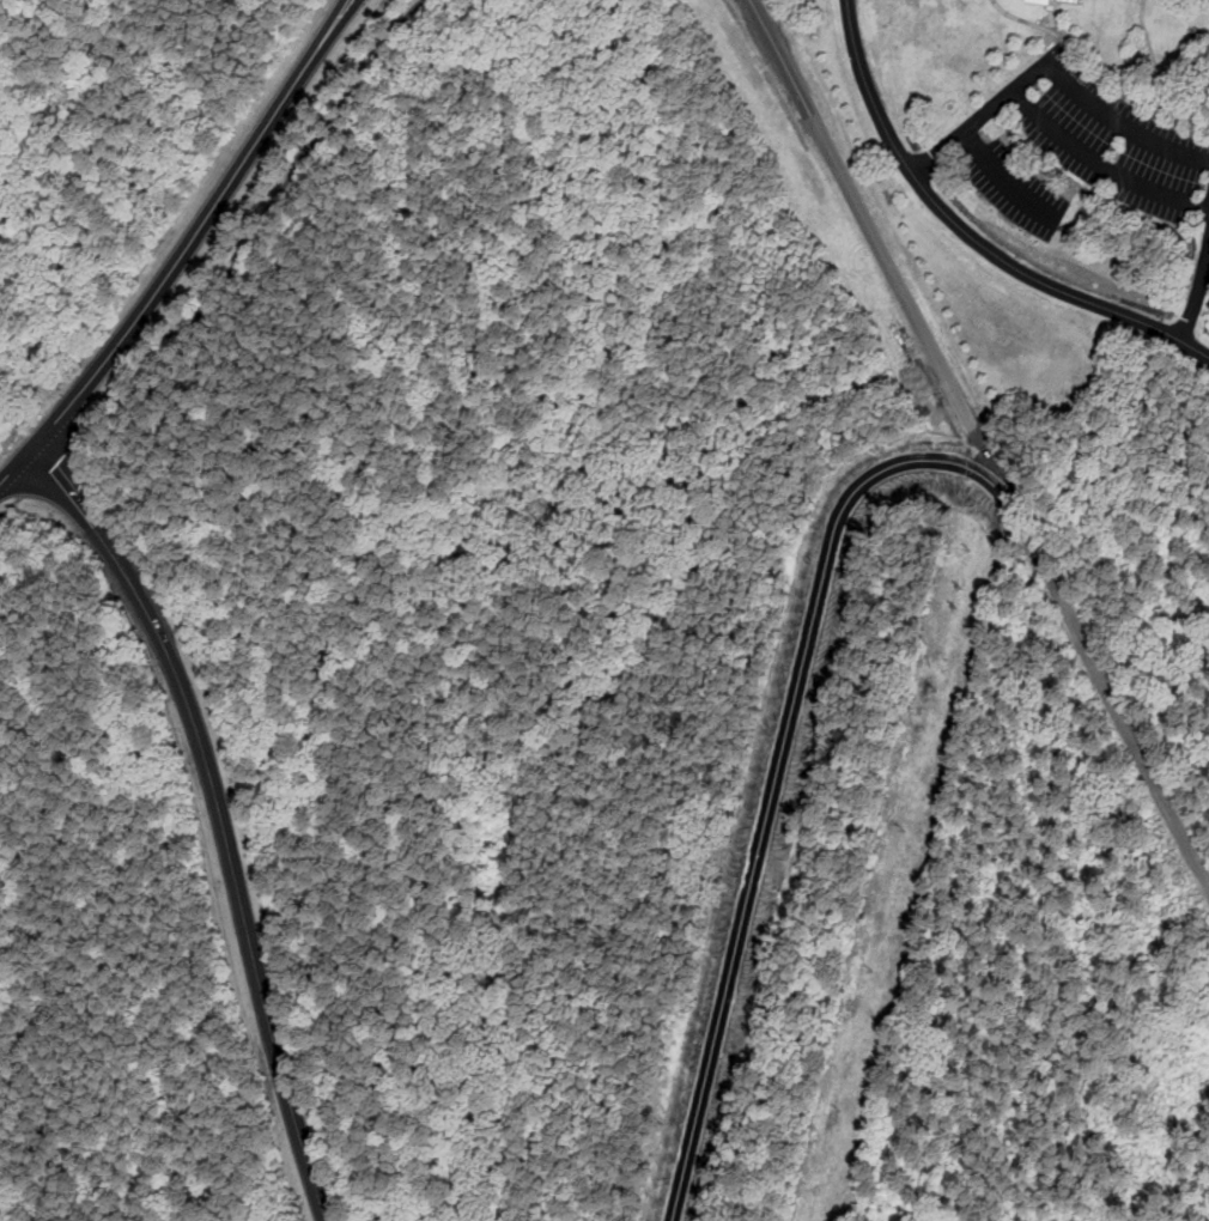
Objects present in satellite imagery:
building: (1051, 4)
road: (1052, 69)
parking lot: (1108, 140)
road: (1104, 162)
road: (1004, 178)
road: (255, 223)
road: (199, 226)
road: (970, 233)
road: (889, 267)
road: (1196, 293)
road: (43, 457)
road: (18, 463)
road: (68, 480)
road: (6, 511)
road: (1117, 710)
road: (779, 771)
road: (232, 862)

